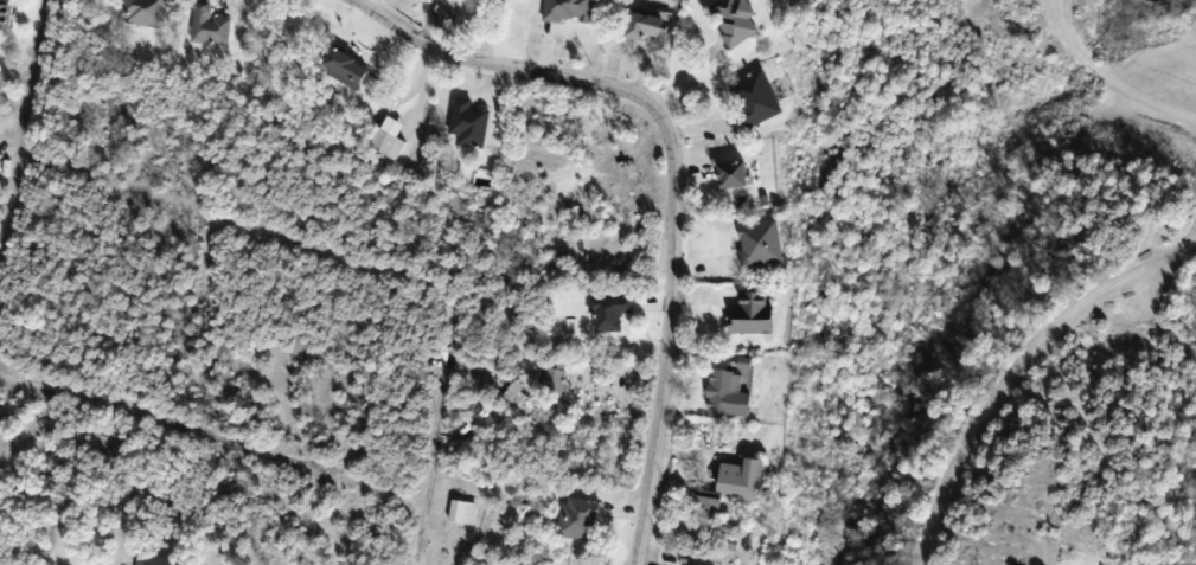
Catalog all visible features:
building: (444, 0)
building: (570, 11)
building: (146, 12)
building: (6, 13)
building: (736, 21)
building: (646, 26)
building: (211, 27)
building: (346, 69)
road: (1112, 75)
building: (756, 98)
building: (469, 122)
road: (19, 141)
building: (388, 145)
road: (671, 171)
building: (734, 174)
building: (761, 243)
road: (335, 256)
building: (610, 312)
building: (754, 314)
road: (1023, 368)
building: (554, 380)
building: (728, 393)
building: (517, 394)
road: (232, 445)
building: (735, 483)
building: (578, 518)
building: (686, 564)

